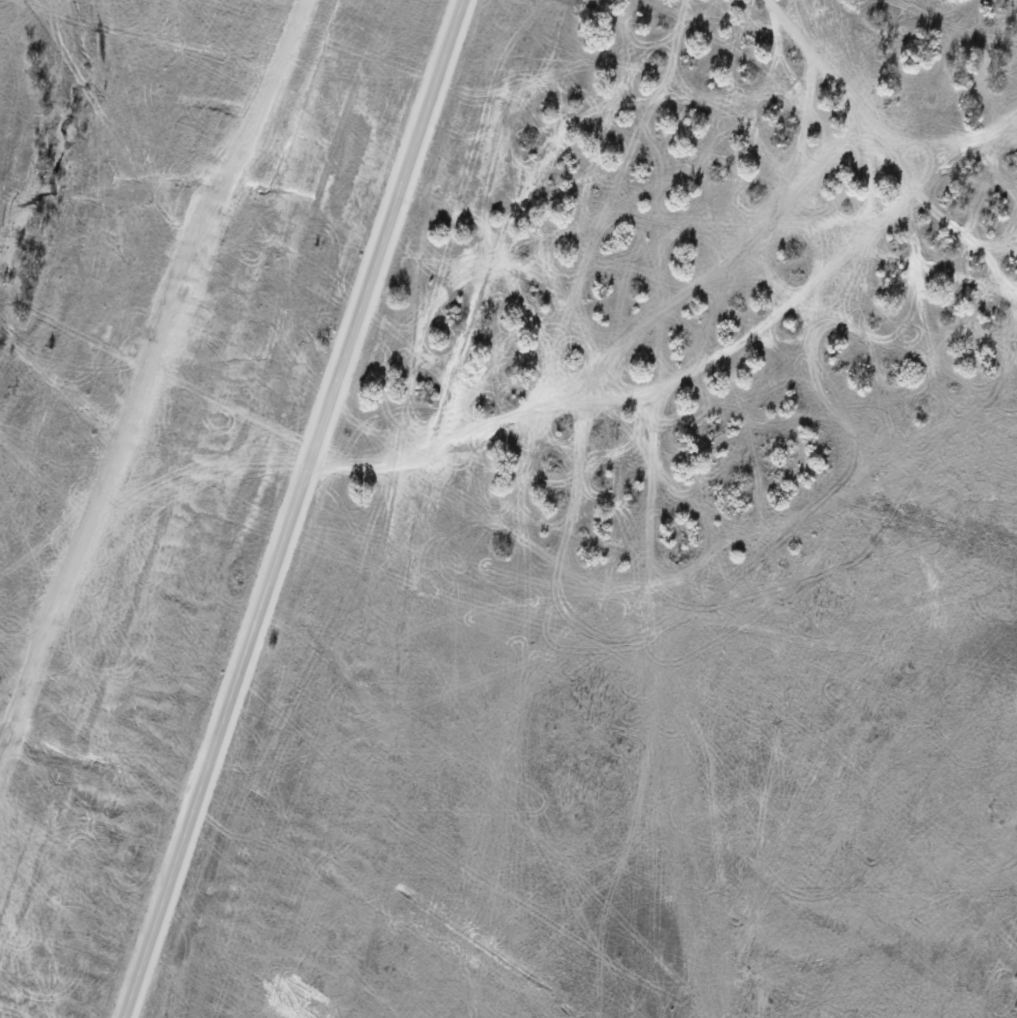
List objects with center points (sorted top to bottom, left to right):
road: (152, 375)
road: (296, 508)

